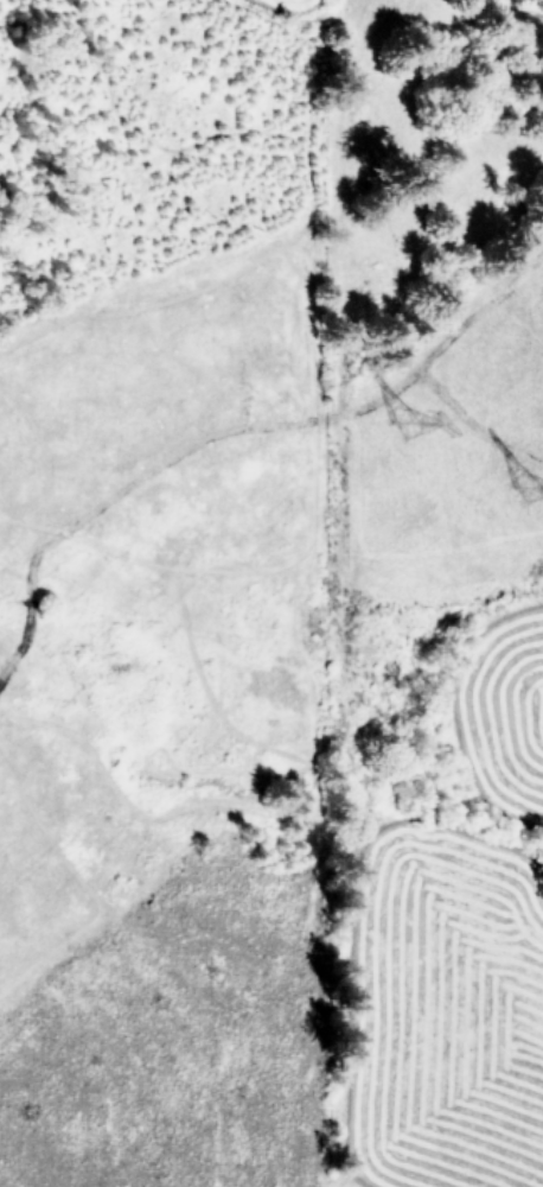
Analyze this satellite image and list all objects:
crop: (497, 15)
power tower: (411, 418)
power tower: (528, 487)

